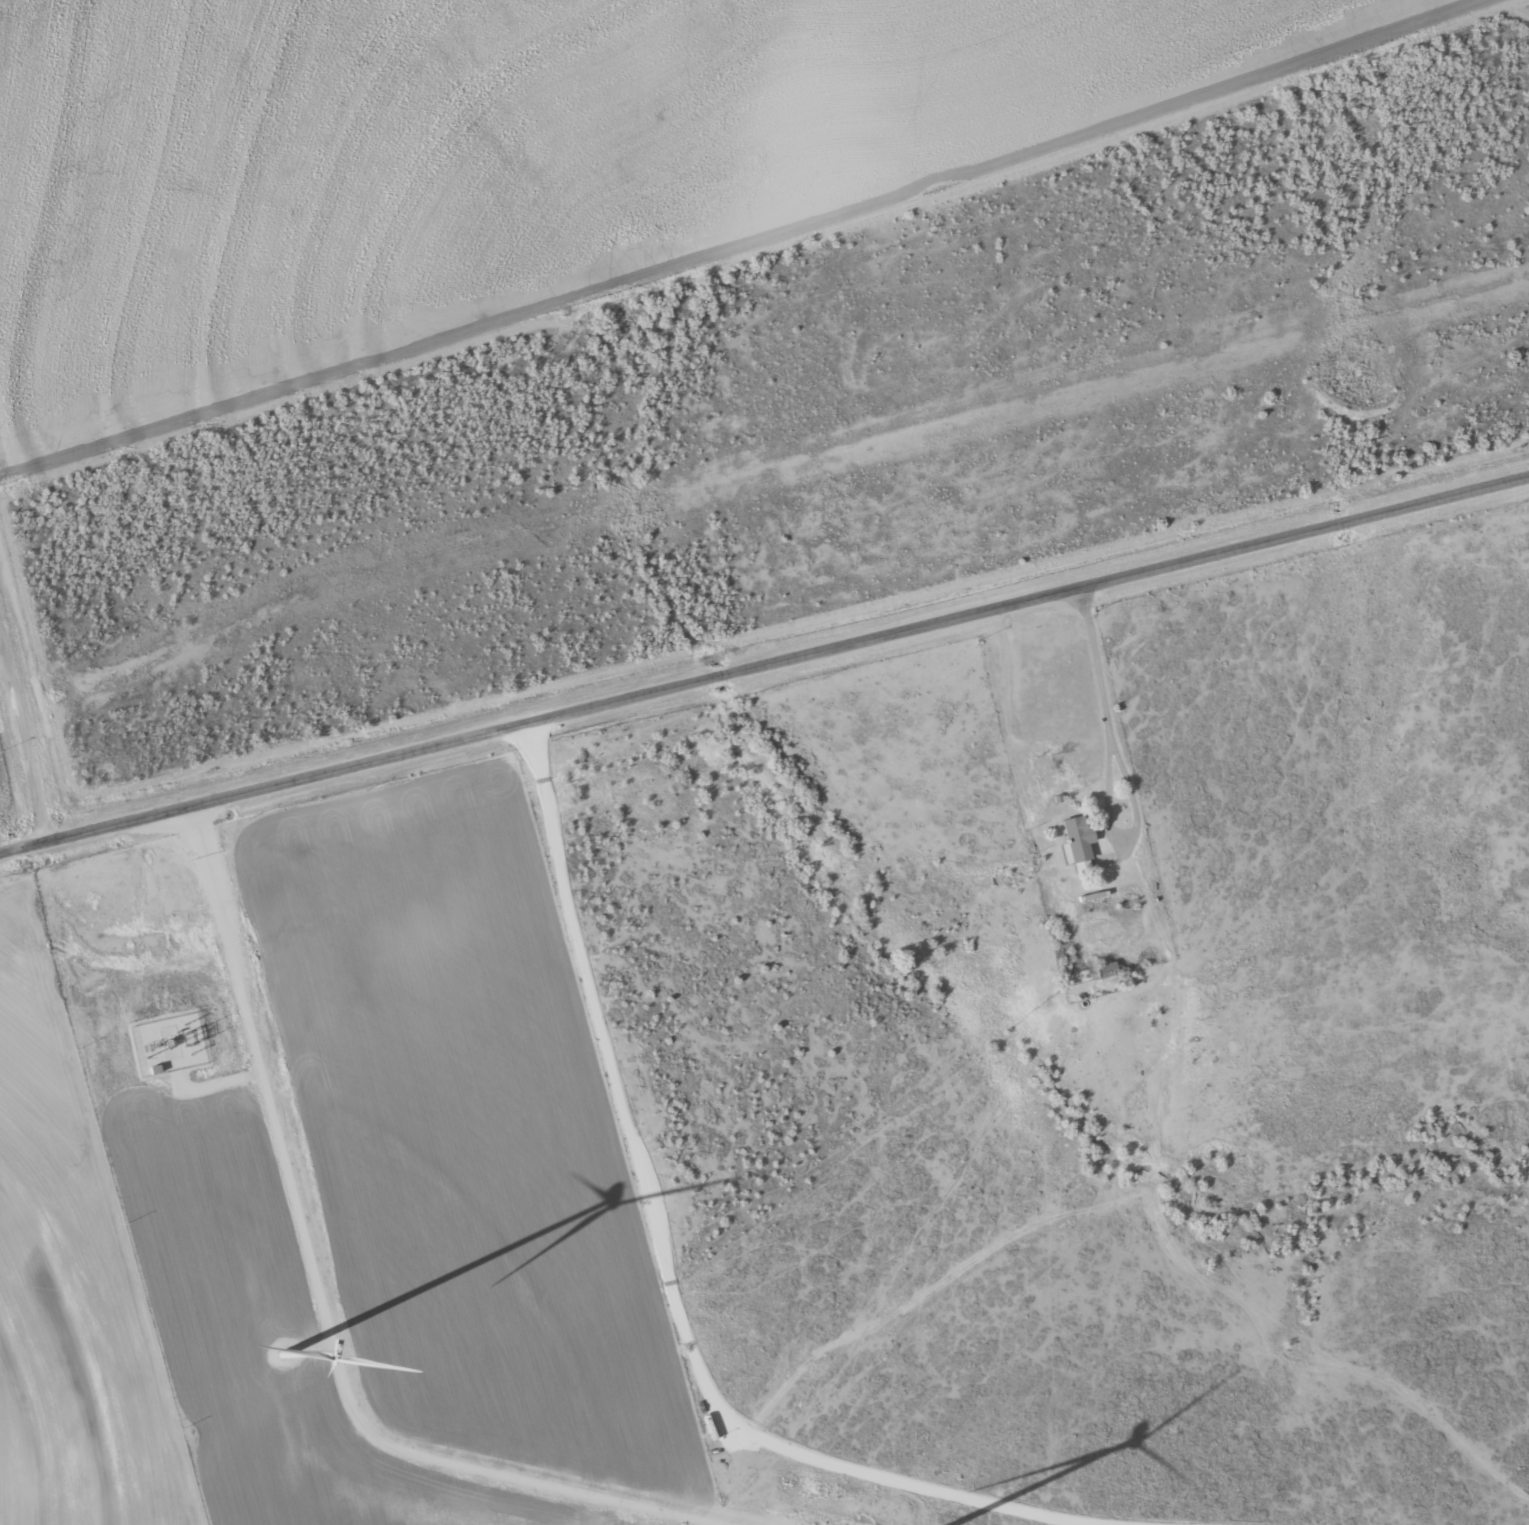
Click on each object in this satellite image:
road: (764, 663)
road: (24, 736)
power substation: (168, 1044)
power tower: (144, 1049)
wind turbine: (284, 1354)

